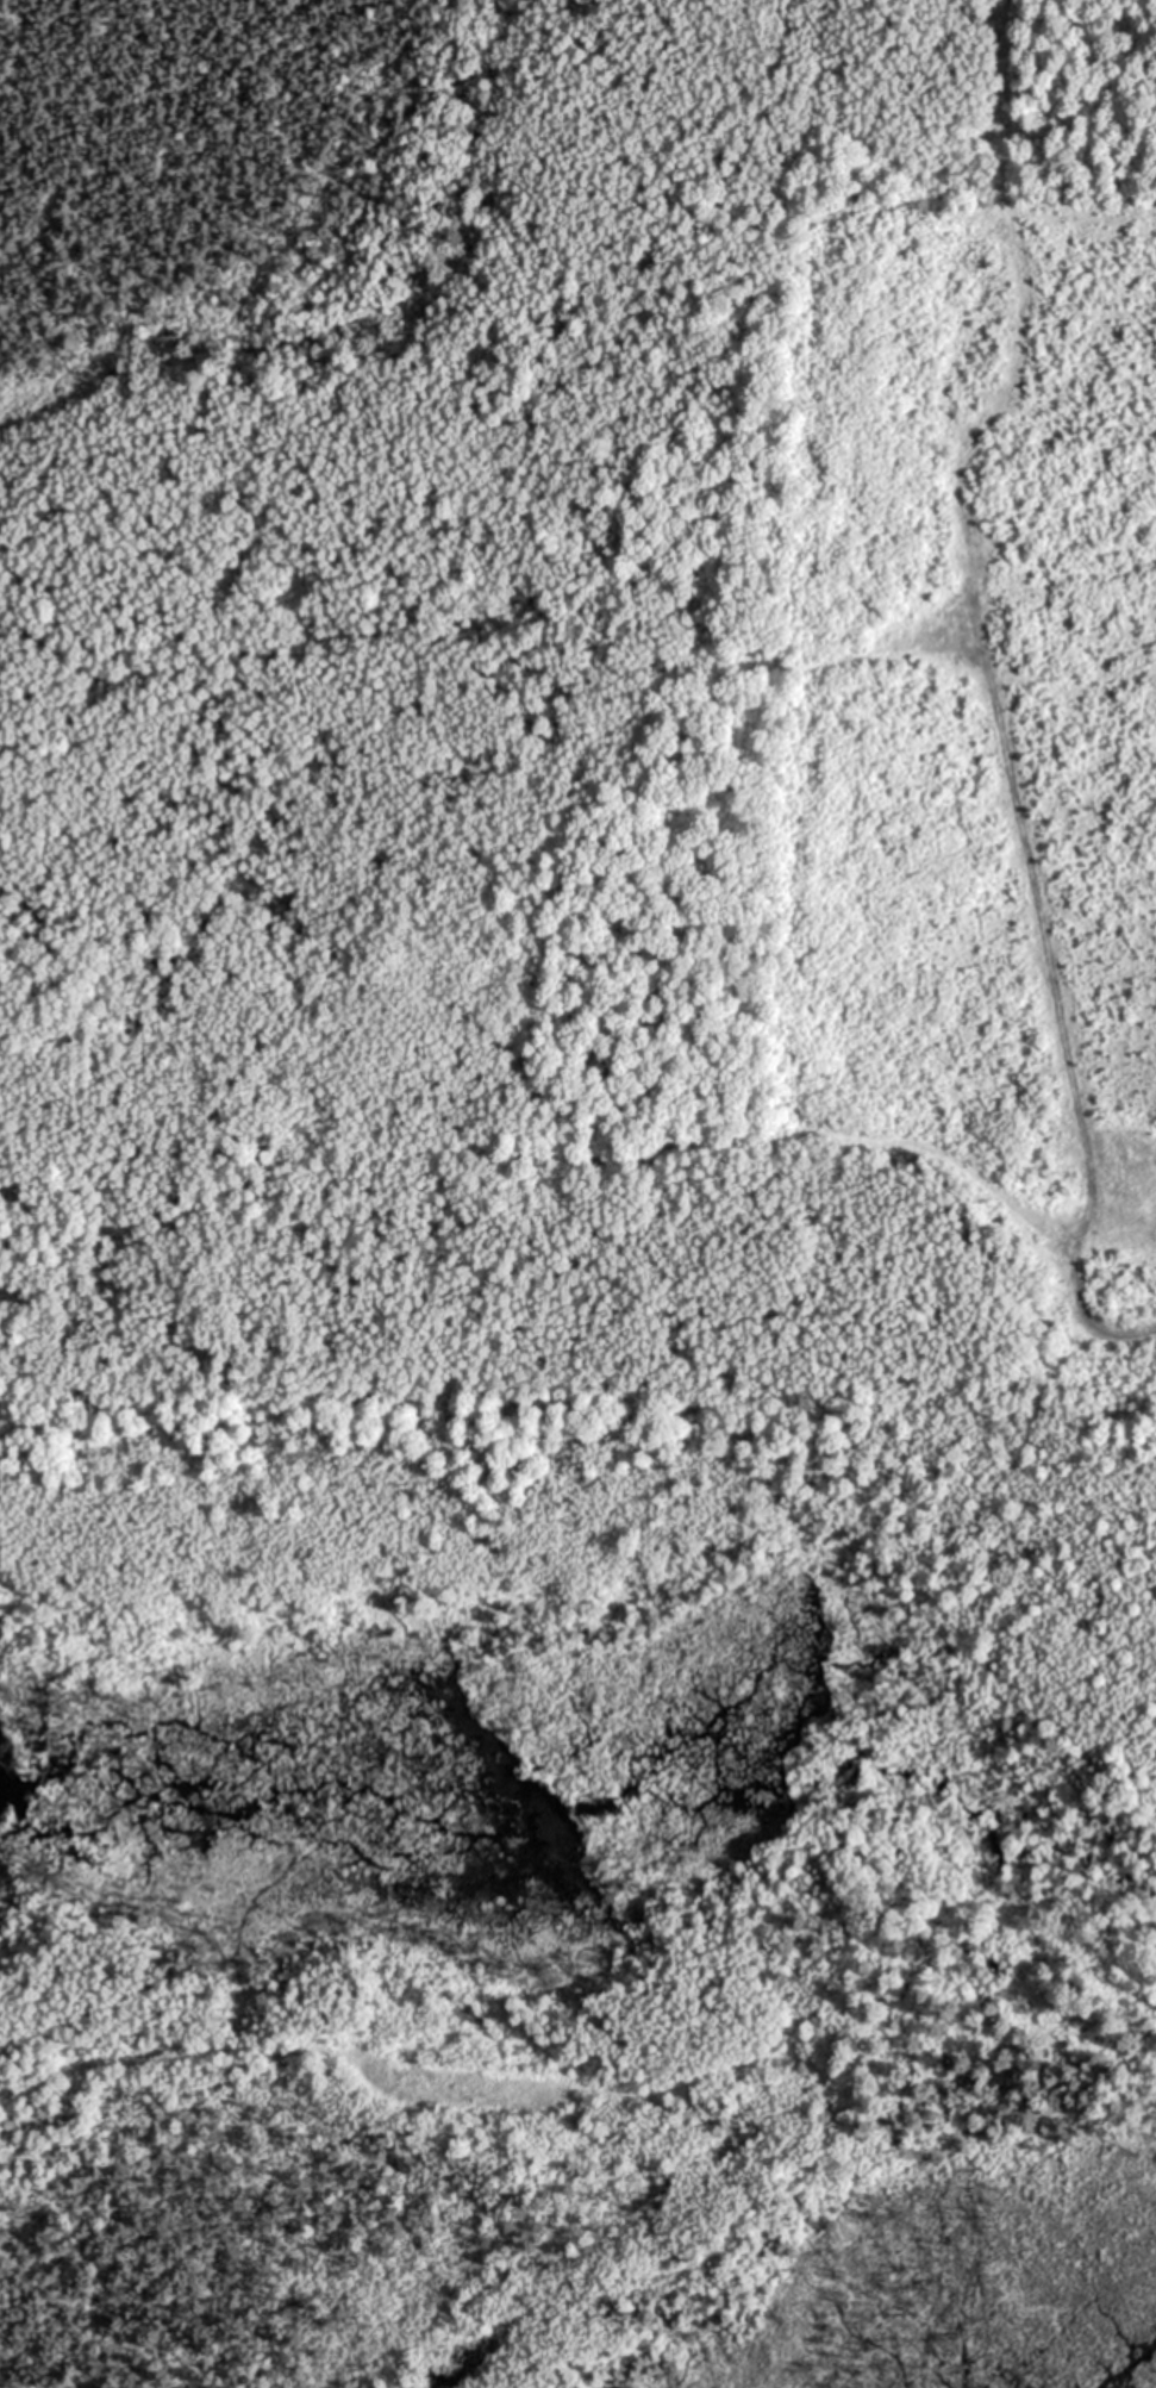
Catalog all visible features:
road: (1104, 1328)

